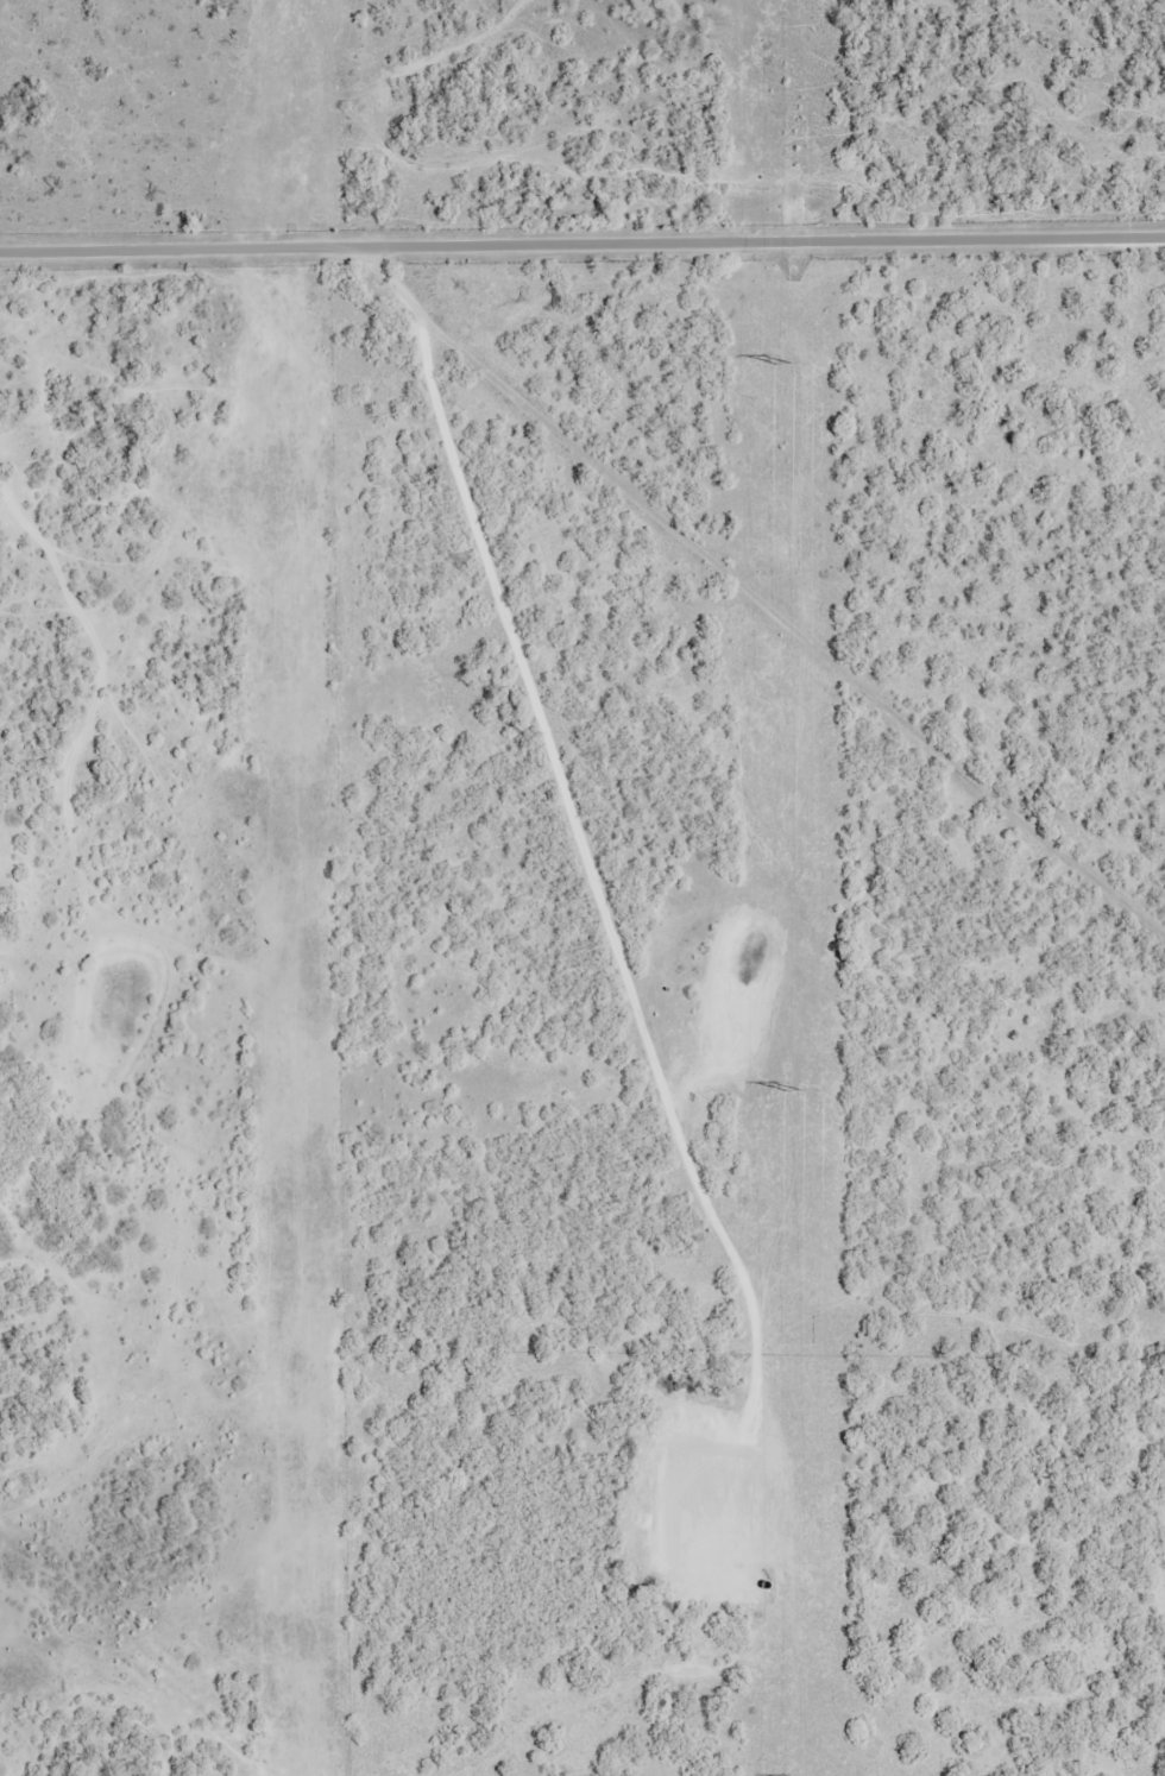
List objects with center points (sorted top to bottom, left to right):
road: (582, 248)
power tower: (787, 361)
road: (781, 556)
power tower: (793, 1089)

